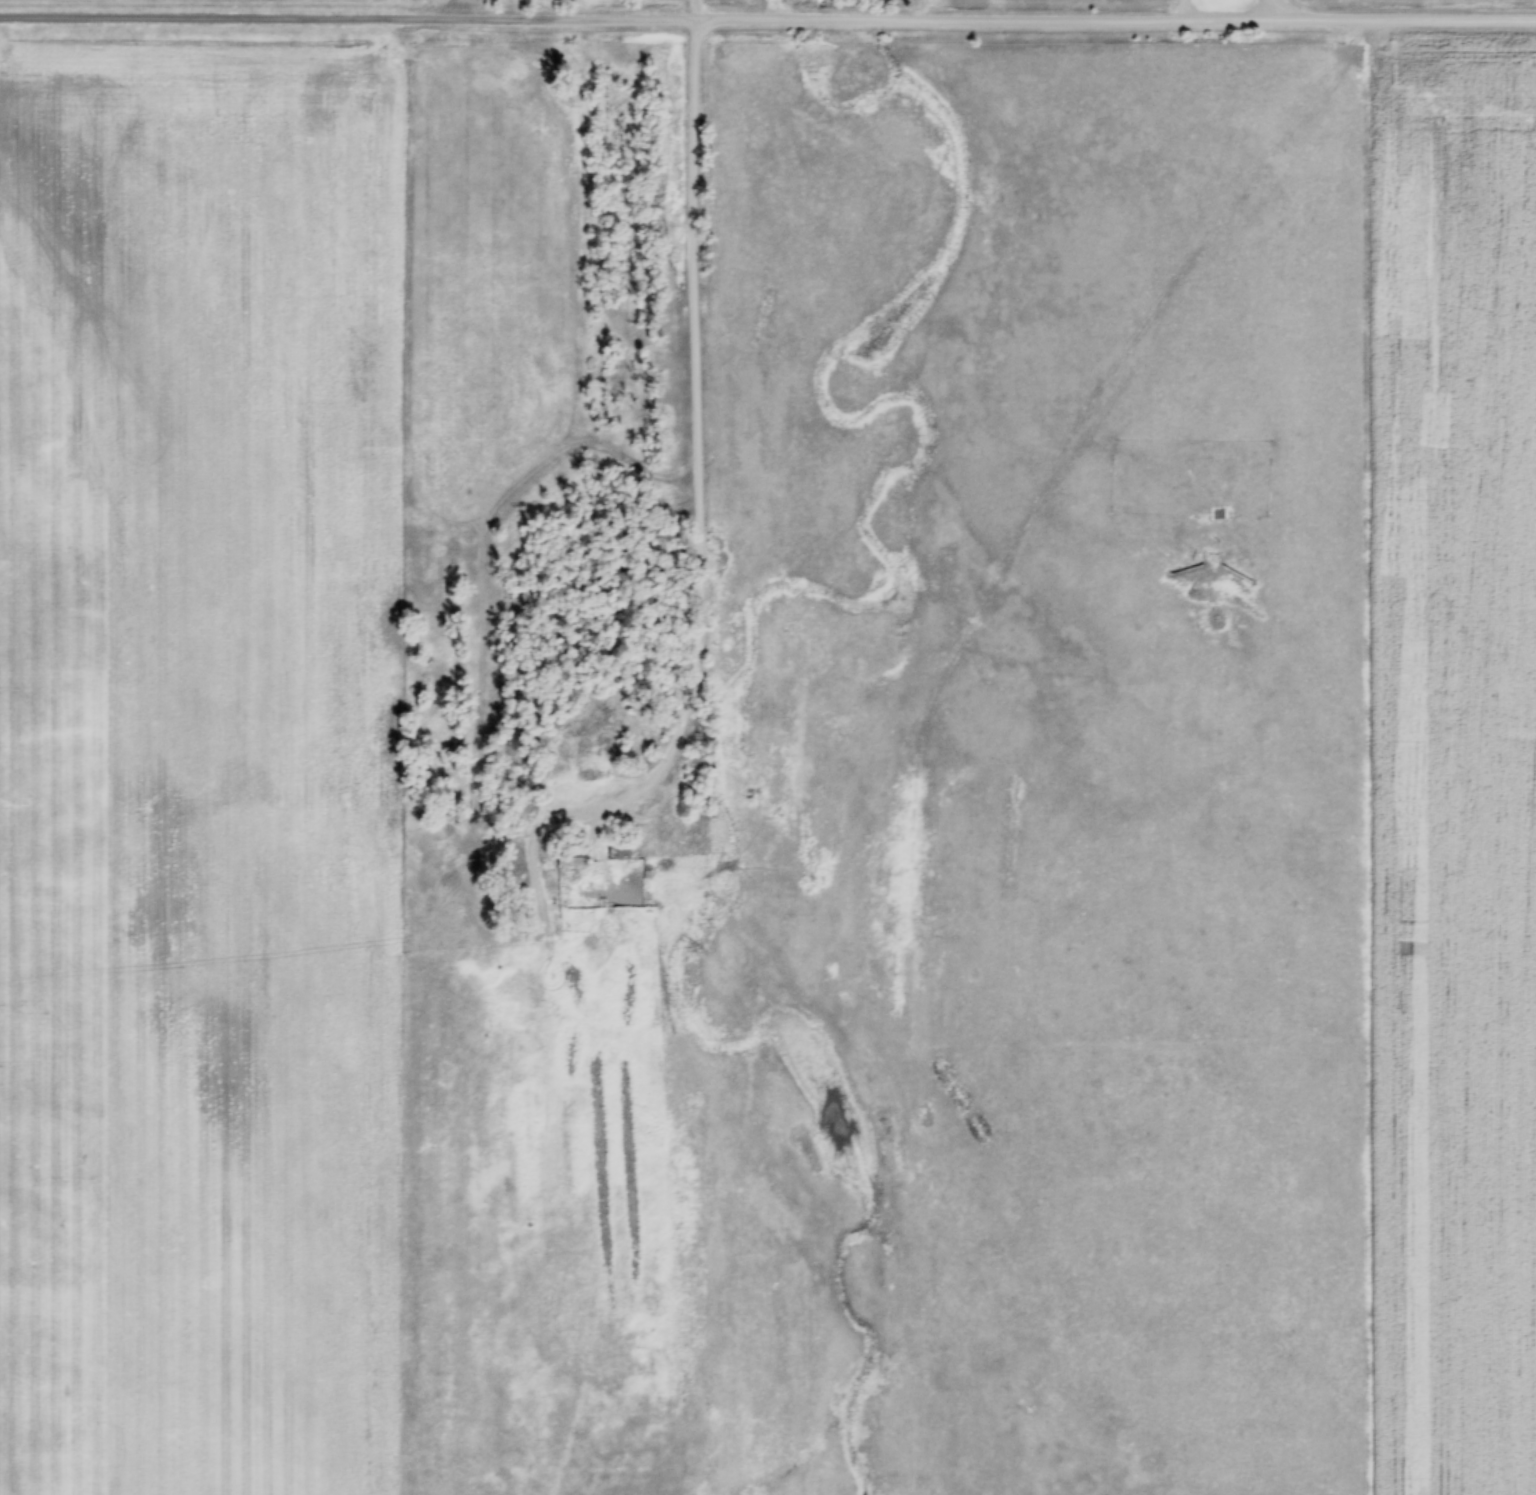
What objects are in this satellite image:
road: (768, 16)
road: (691, 248)
building: (619, 851)

